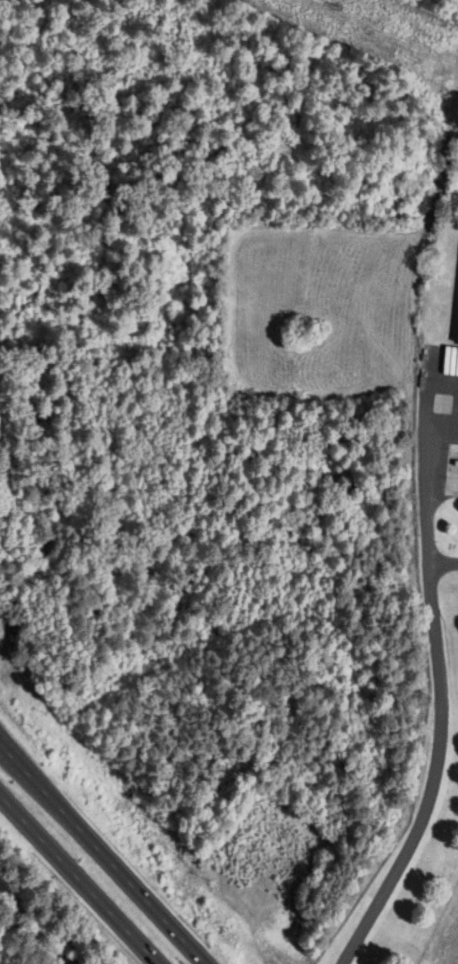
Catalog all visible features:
road: (442, 567)
road: (436, 682)
road: (103, 853)
road: (80, 877)

